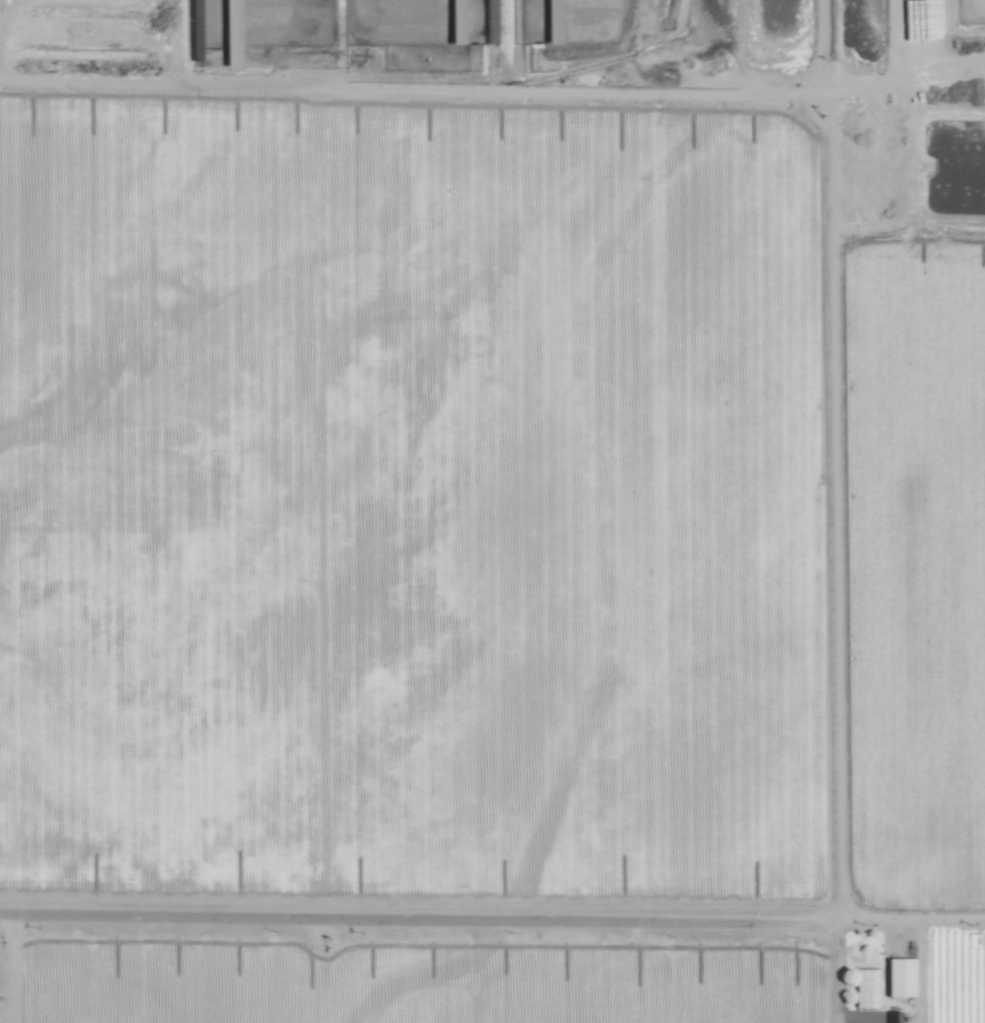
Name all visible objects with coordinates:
crop: (605, 72)
crop: (492, 511)
road: (402, 915)
road: (918, 932)
road: (8, 967)
building: (898, 976)
road: (834, 977)
building: (865, 988)
building: (895, 1016)
road: (835, 1021)

